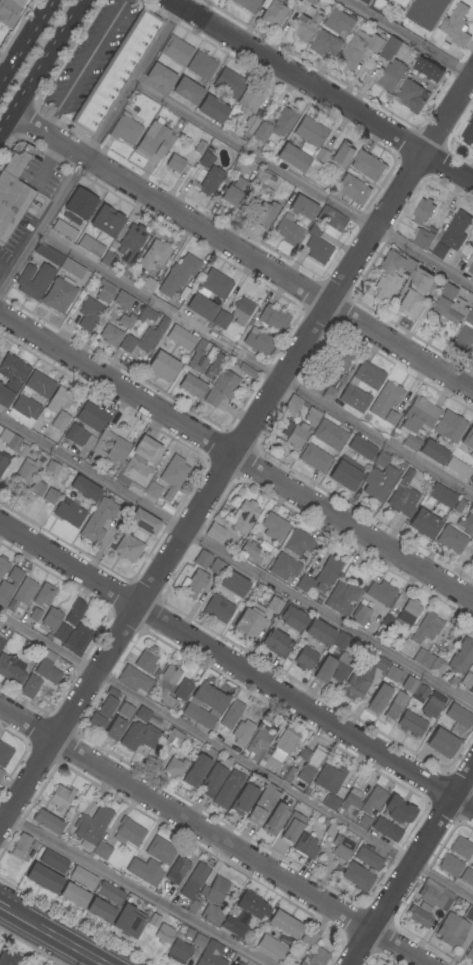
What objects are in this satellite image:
building: (312, 1)
building: (365, 1)
building: (399, 1)
building: (247, 4)
building: (378, 5)
building: (10, 11)
building: (426, 12)
building: (274, 14)
building: (338, 21)
building: (308, 26)
building: (456, 26)
road: (410, 37)
road: (24, 40)
building: (324, 43)
building: (360, 47)
building: (389, 47)
building: (174, 51)
road: (40, 64)
road: (85, 64)
building: (202, 65)
building: (428, 69)
building: (116, 71)
building: (391, 75)
building: (160, 76)
building: (229, 83)
building: (187, 91)
road: (321, 93)
building: (410, 95)
building: (249, 100)
building: (212, 109)
building: (250, 124)
building: (275, 126)
building: (125, 128)
building: (468, 131)
building: (310, 132)
building: (154, 141)
road: (91, 145)
building: (198, 146)
building: (321, 155)
building: (342, 155)
building: (292, 157)
building: (16, 159)
building: (206, 160)
building: (175, 163)
building: (241, 165)
building: (367, 165)
building: (211, 180)
road: (303, 181)
building: (352, 189)
building: (257, 191)
building: (235, 192)
building: (17, 204)
building: (79, 205)
building: (303, 207)
building: (422, 211)
building: (265, 214)
building: (331, 218)
building: (106, 221)
building: (64, 230)
building: (288, 230)
building: (455, 230)
building: (422, 238)
building: (132, 242)
building: (91, 245)
building: (317, 245)
building: (472, 245)
building: (439, 250)
road: (242, 251)
building: (154, 254)
building: (109, 259)
building: (61, 261)
building: (470, 269)
road: (5, 272)
building: (178, 274)
building: (391, 274)
building: (34, 281)
building: (216, 283)
building: (149, 284)
building: (104, 291)
building: (449, 291)
building: (59, 293)
building: (415, 293)
building: (122, 300)
building: (200, 307)
building: (450, 309)
building: (241, 310)
building: (89, 313)
building: (147, 314)
building: (273, 318)
building: (126, 320)
building: (221, 320)
building: (111, 335)
building: (466, 335)
building: (181, 337)
building: (143, 338)
building: (259, 342)
building: (198, 357)
building: (340, 358)
road: (256, 362)
building: (163, 365)
building: (214, 367)
building: (246, 370)
building: (11, 377)
building: (341, 379)
building: (40, 384)
building: (315, 384)
building: (337, 385)
building: (192, 386)
building: (221, 388)
building: (351, 389)
building: (329, 393)
building: (385, 399)
building: (59, 400)
building: (292, 406)
building: (24, 410)
building: (92, 416)
building: (311, 416)
building: (391, 417)
building: (60, 421)
building: (416, 421)
building: (289, 425)
building: (449, 426)
building: (297, 435)
building: (329, 435)
building: (79, 436)
building: (468, 439)
building: (8, 447)
building: (111, 448)
building: (362, 448)
building: (22, 450)
road: (232, 452)
building: (433, 452)
road: (236, 458)
building: (315, 458)
building: (381, 459)
building: (137, 463)
building: (51, 468)
building: (458, 468)
building: (27, 472)
building: (346, 473)
building: (173, 476)
building: (406, 478)
building: (379, 482)
building: (472, 483)
building: (37, 488)
building: (84, 488)
building: (153, 490)
building: (442, 495)
building: (50, 496)
building: (403, 500)
building: (460, 507)
building: (69, 512)
building: (244, 516)
building: (98, 520)
building: (143, 522)
building: (424, 523)
building: (466, 523)
building: (274, 527)
building: (215, 532)
building: (472, 535)
building: (451, 539)
building: (299, 542)
building: (127, 547)
building: (249, 549)
building: (202, 559)
road: (235, 561)
building: (3, 565)
building: (284, 566)
building: (217, 567)
building: (320, 577)
building: (194, 583)
building: (233, 583)
building: (9, 585)
building: (382, 593)
building: (22, 594)
building: (44, 594)
building: (339, 600)
building: (275, 605)
building: (218, 608)
building: (75, 612)
building: (35, 614)
building: (360, 615)
building: (402, 615)
building: (293, 618)
building: (51, 619)
building: (250, 621)
building: (426, 628)
building: (61, 632)
building: (319, 632)
building: (2, 640)
building: (77, 640)
building: (341, 641)
building: (276, 643)
building: (462, 656)
building: (305, 658)
building: (423, 658)
building: (146, 661)
building: (49, 667)
road: (236, 667)
building: (436, 667)
building: (333, 668)
building: (11, 669)
building: (169, 676)
building: (367, 678)
building: (134, 679)
building: (468, 682)
building: (29, 684)
building: (410, 684)
building: (183, 689)
building: (420, 693)
building: (378, 699)
building: (168, 700)
building: (204, 705)
building: (395, 705)
building: (433, 705)
building: (107, 706)
building: (125, 711)
building: (142, 714)
building: (231, 714)
building: (459, 715)
building: (96, 722)
building: (411, 723)
building: (114, 728)
building: (242, 732)
building: (139, 736)
building: (174, 738)
building: (259, 743)
building: (442, 743)
building: (279, 748)
building: (4, 754)
road: (236, 757)
building: (310, 761)
building: (175, 767)
building: (196, 771)
building: (1, 773)
building: (289, 774)
building: (214, 777)
building: (329, 778)
building: (228, 789)
building: (61, 798)
building: (244, 800)
building: (373, 800)
building: (330, 802)
building: (350, 804)
building: (261, 805)
building: (398, 810)
building: (274, 818)
building: (47, 821)
building: (364, 822)
building: (92, 824)
building: (292, 827)
building: (329, 827)
building: (386, 829)
building: (128, 832)
road: (215, 835)
building: (20, 845)
building: (305, 846)
building: (341, 848)
building: (463, 849)
building: (102, 850)
building: (368, 858)
road: (410, 859)
building: (53, 861)
building: (153, 861)
building: (450, 865)
building: (177, 870)
building: (357, 877)
building: (467, 877)
building: (44, 878)
building: (194, 881)
road: (137, 886)
building: (78, 887)
building: (218, 891)
building: (110, 892)
building: (435, 895)
building: (194, 904)
building: (251, 905)
road: (0, 909)
building: (100, 910)
building: (469, 913)
building: (212, 915)
building: (419, 917)
building: (154, 920)
building: (129, 921)
building: (285, 924)
building: (234, 927)
building: (185, 931)
building: (452, 931)
building: (163, 934)
road: (51, 937)
building: (309, 938)
building: (284, 940)
building: (199, 941)
building: (271, 946)
building: (178, 952)
building: (469, 953)
building: (211, 954)
building: (315, 957)
building: (8, 958)
building: (240, 963)
building: (228, 964)
building: (231, 964)
building: (371, 964)

